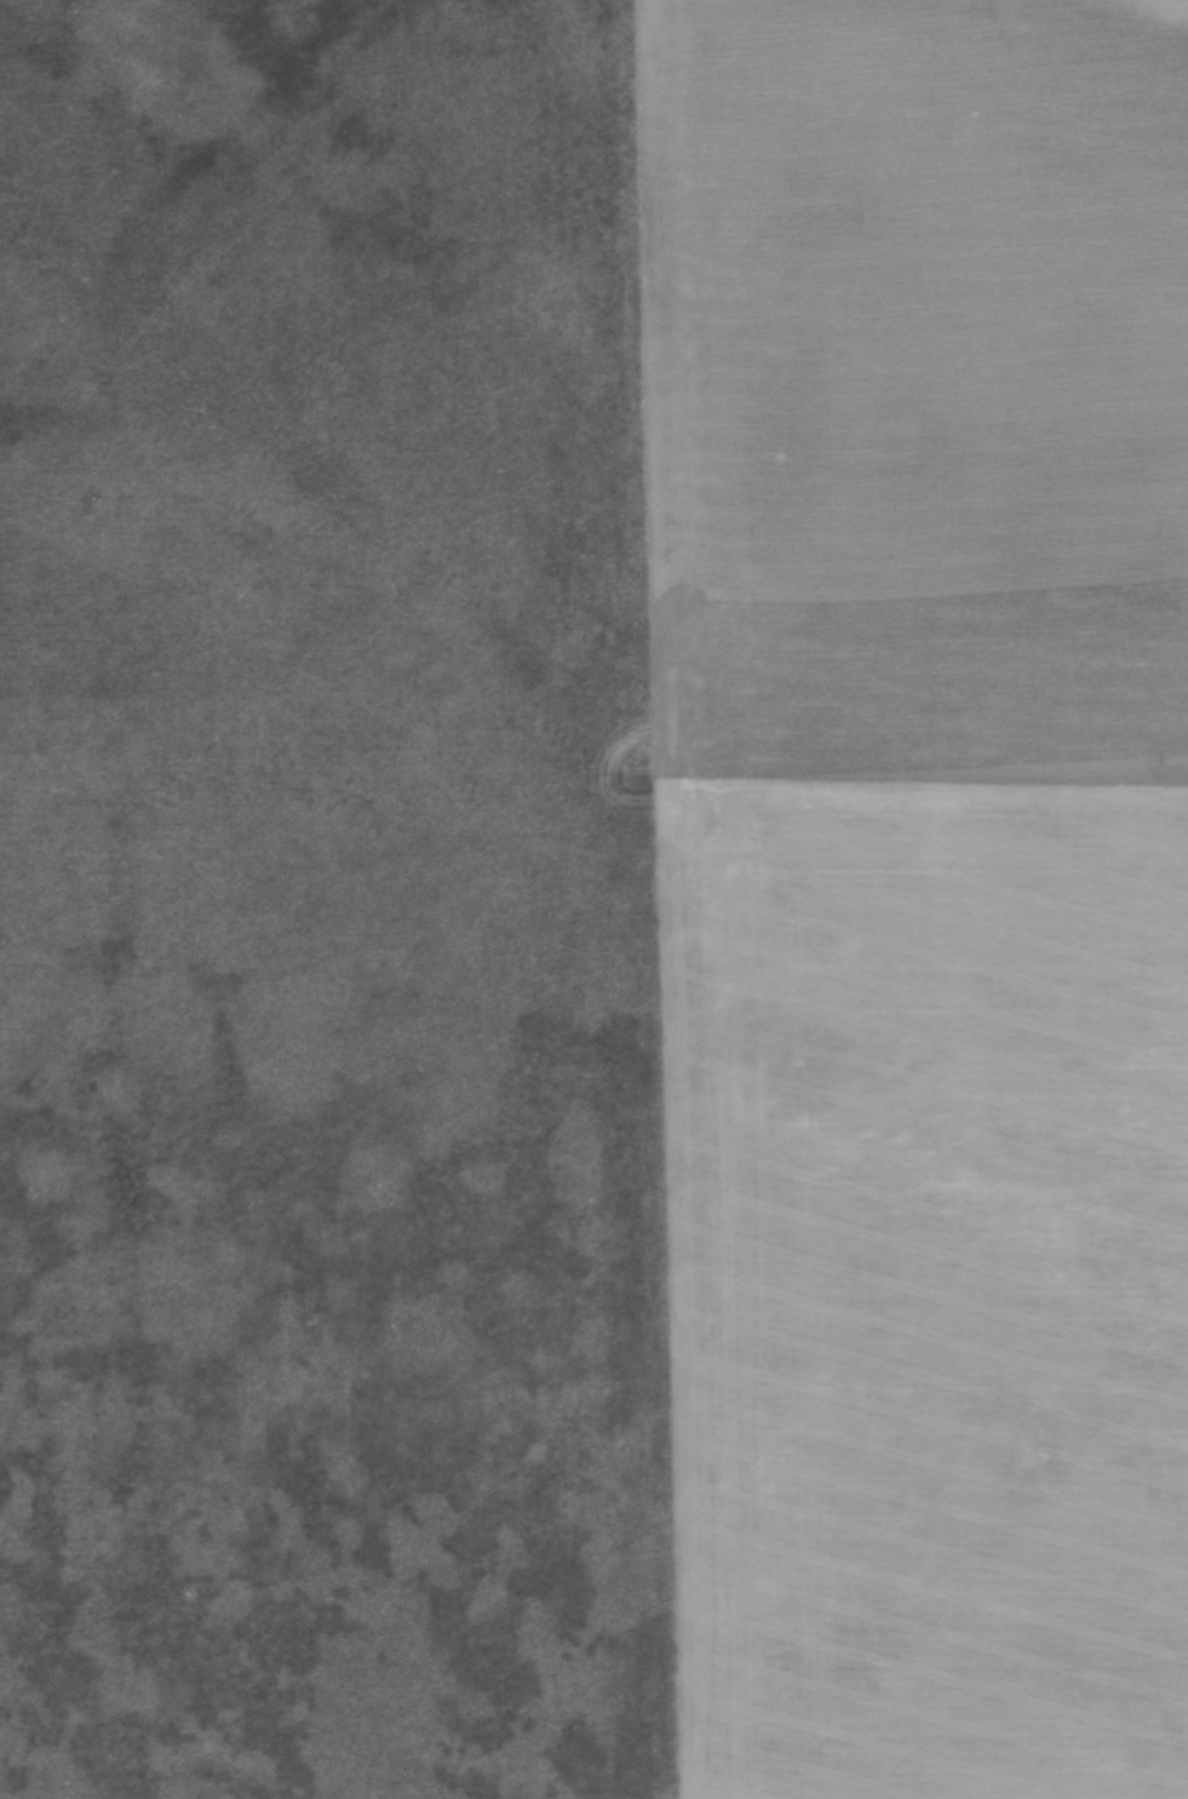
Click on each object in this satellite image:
crop: (922, 888)

